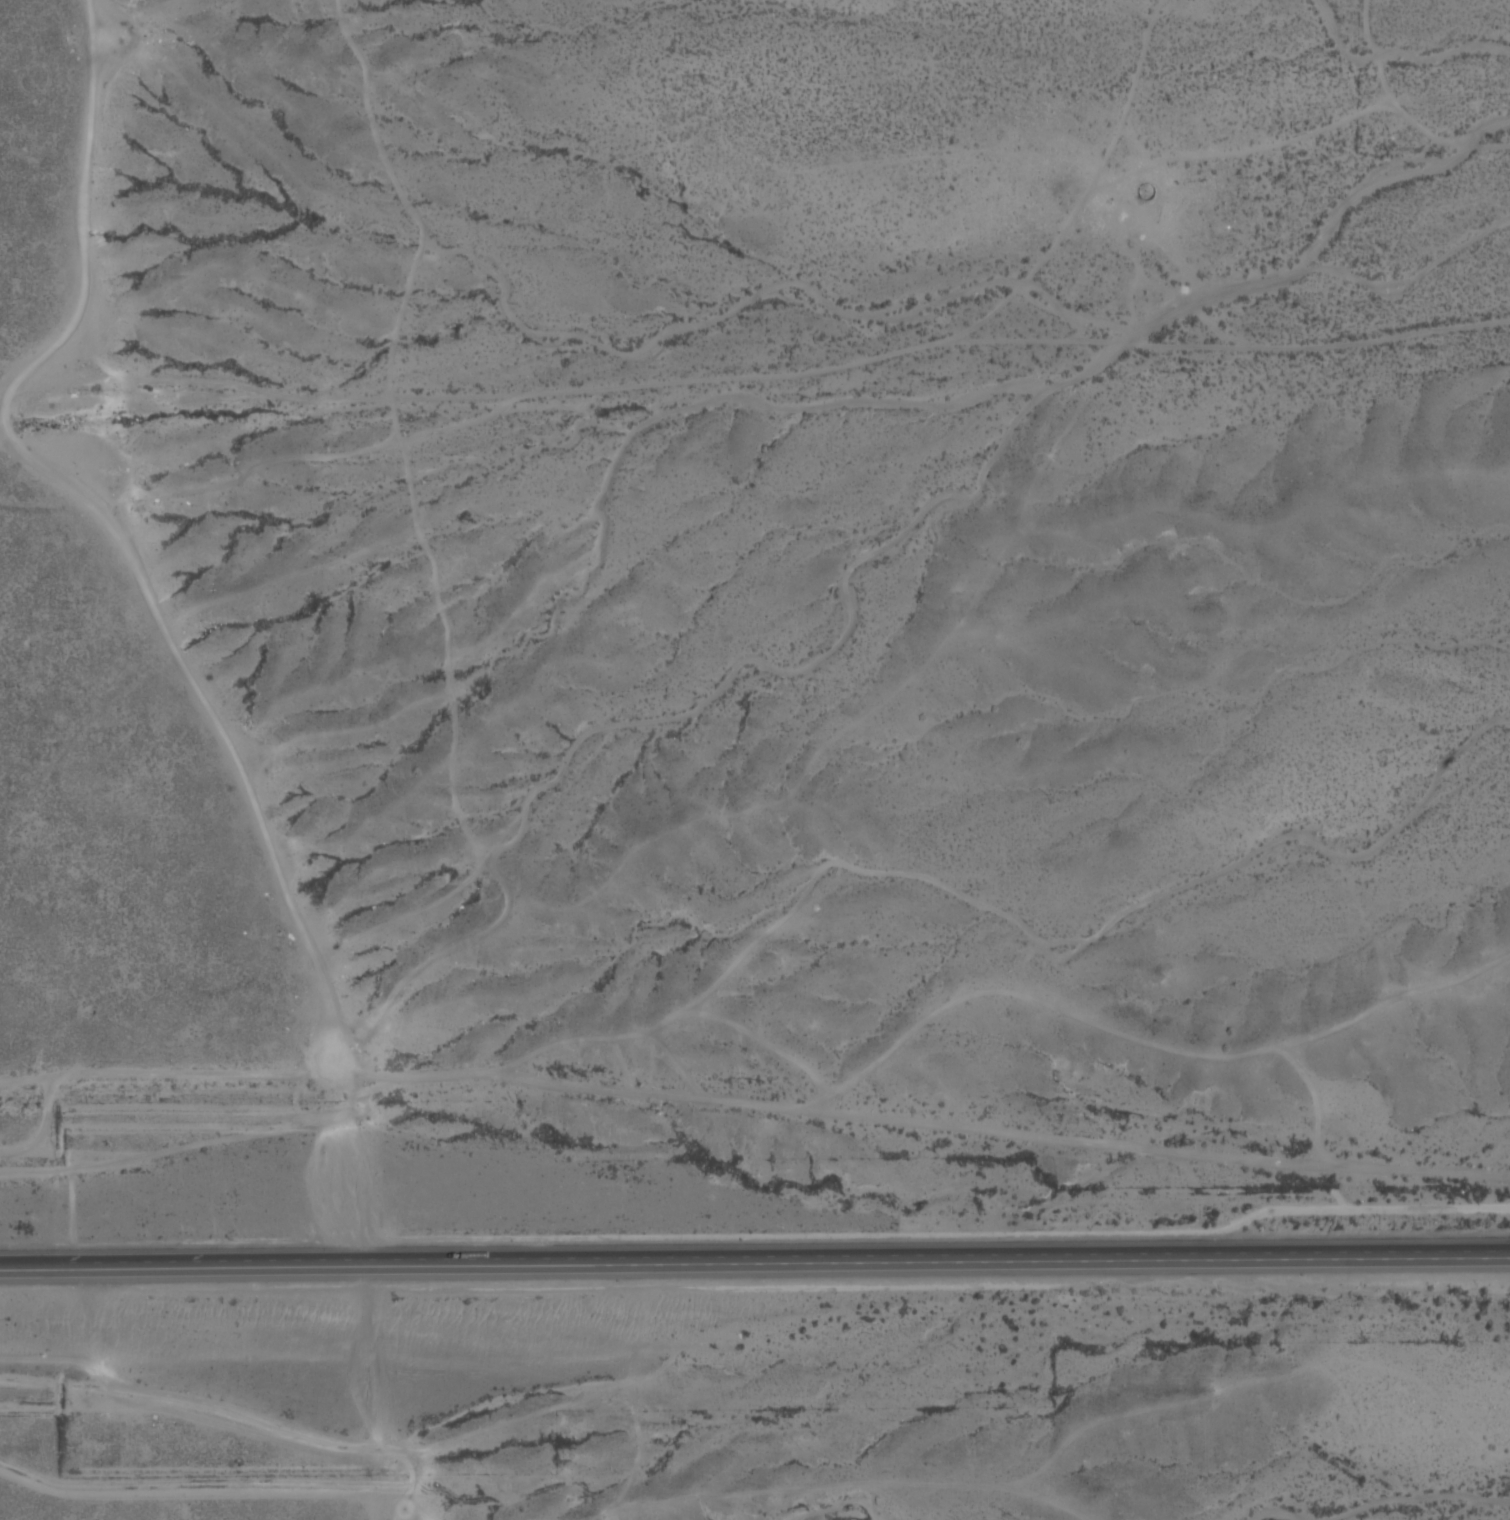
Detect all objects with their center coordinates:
road: (93, 216)
road: (260, 805)
road: (754, 1257)
road: (393, 1514)

